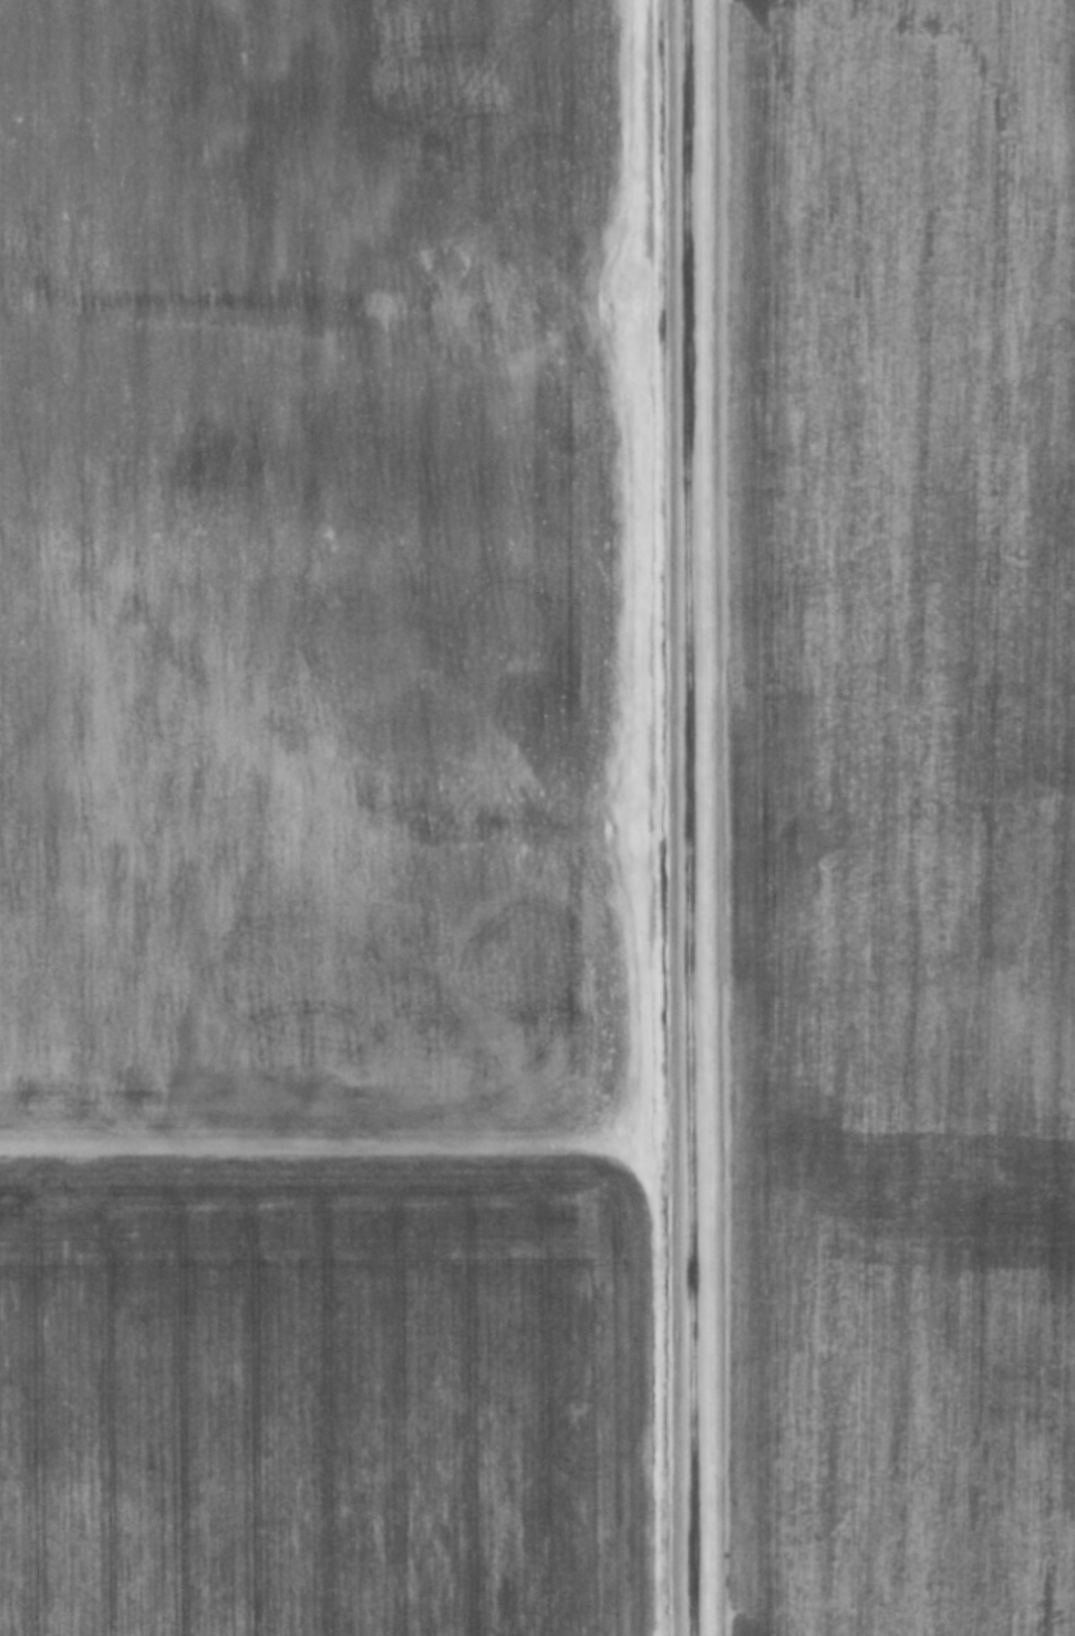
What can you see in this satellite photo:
road: (694, 817)

